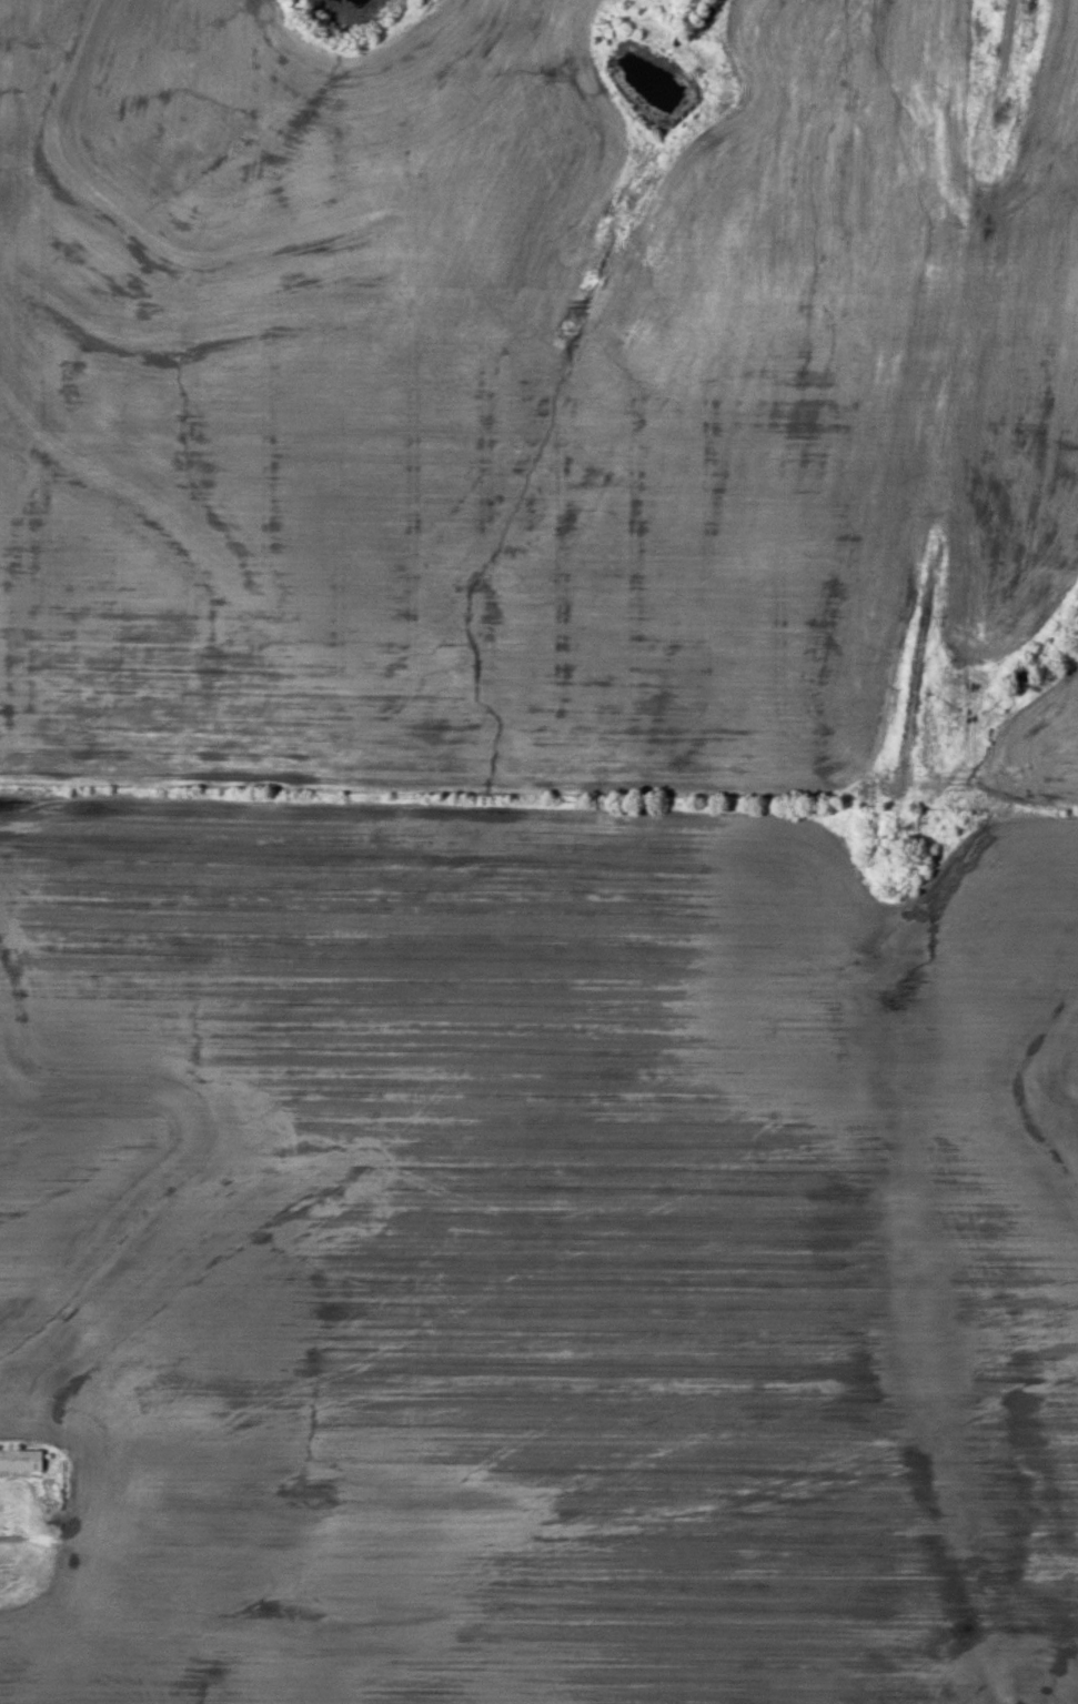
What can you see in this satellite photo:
road: (68, 1445)
building: (20, 1461)

